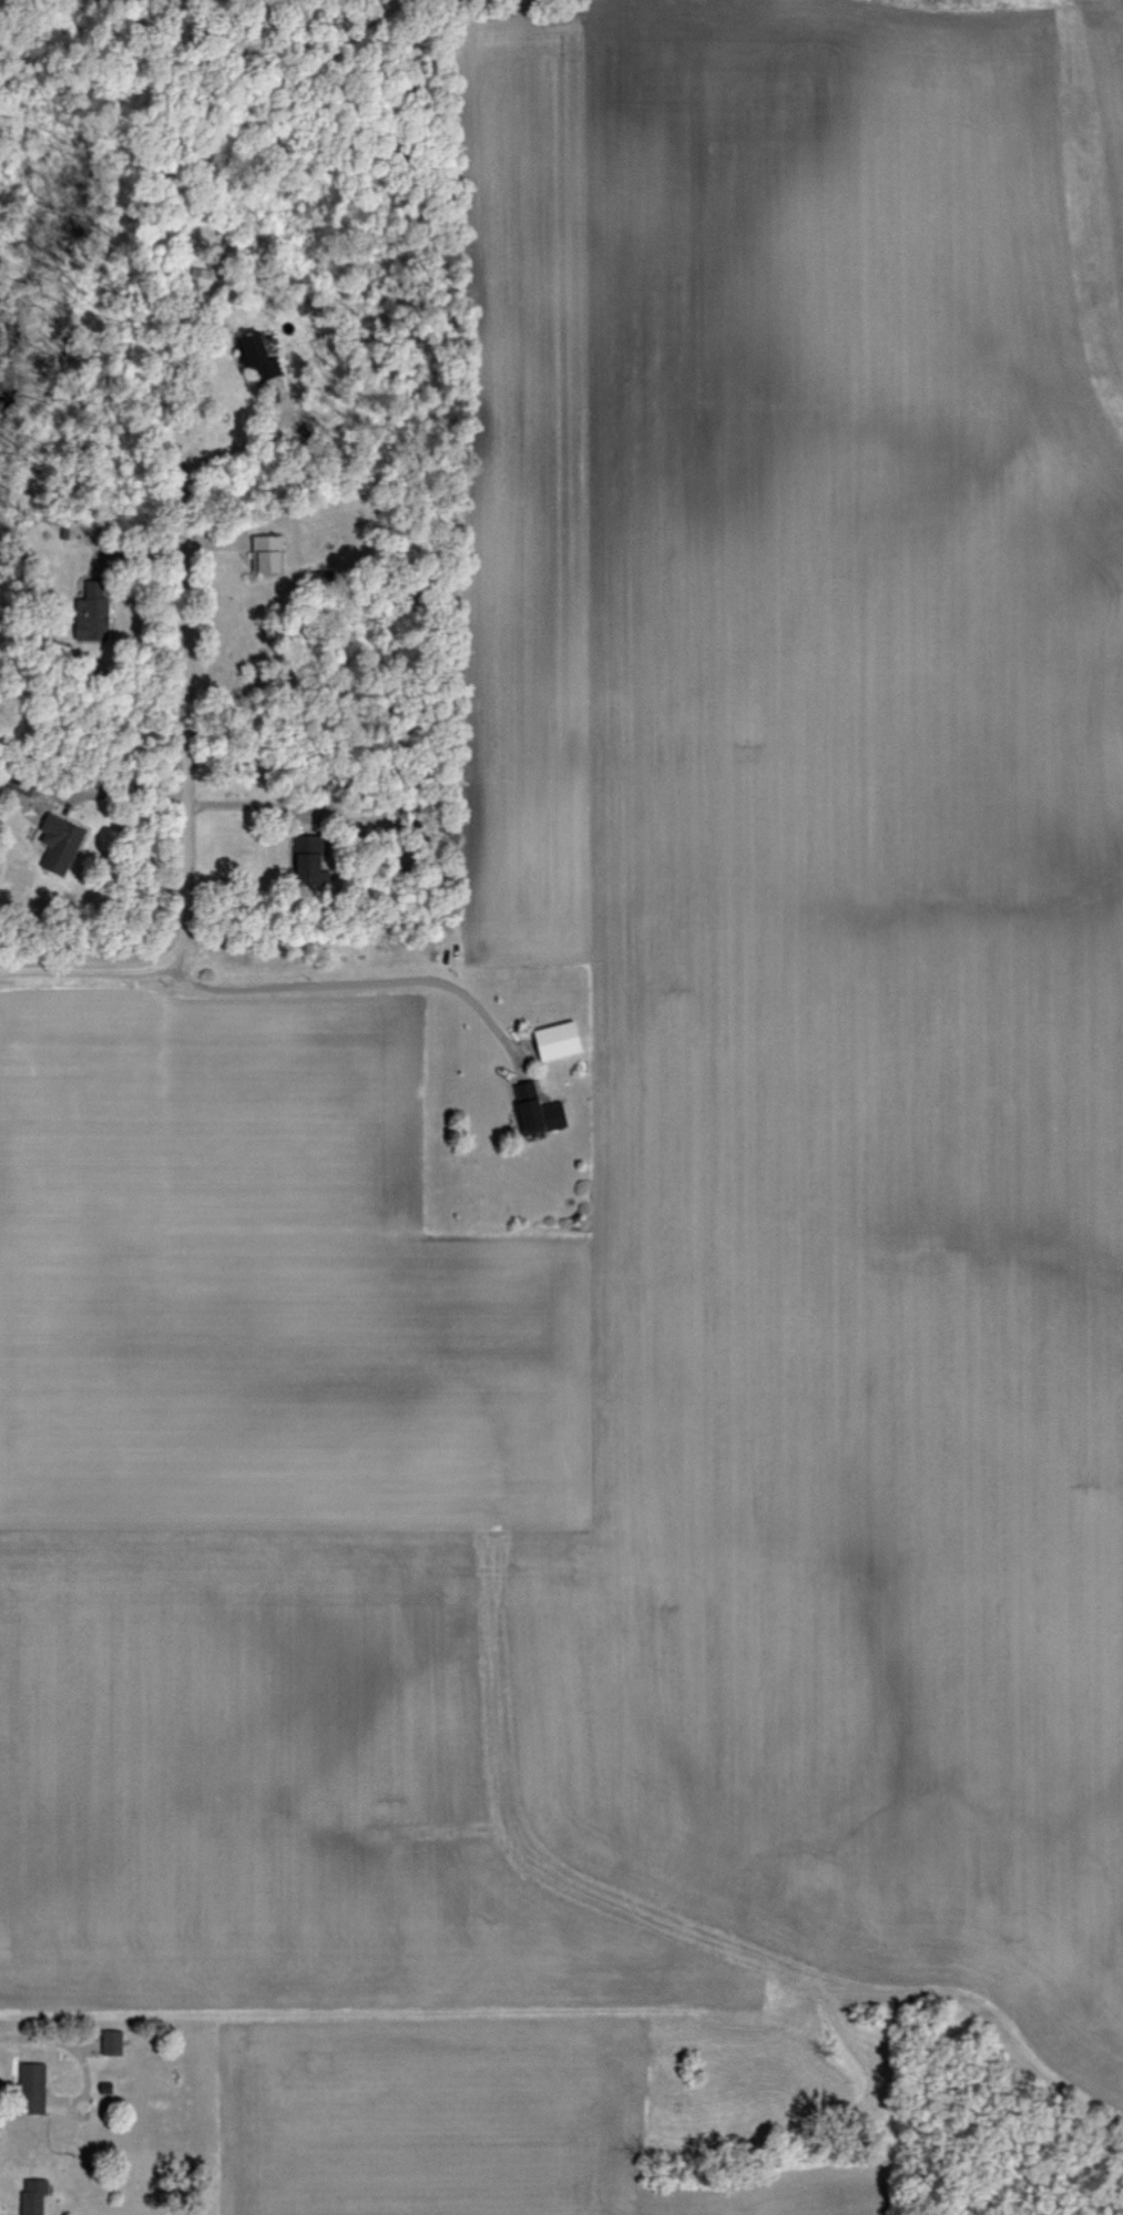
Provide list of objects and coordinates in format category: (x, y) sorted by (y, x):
building: (202, 274)
building: (257, 355)
building: (267, 552)
building: (91, 613)
road: (123, 794)
road: (246, 804)
road: (186, 837)
building: (60, 843)
building: (308, 858)
road: (357, 982)
building: (558, 1040)
building: (537, 1110)
building: (112, 2041)
building: (33, 2088)
building: (34, 2195)

